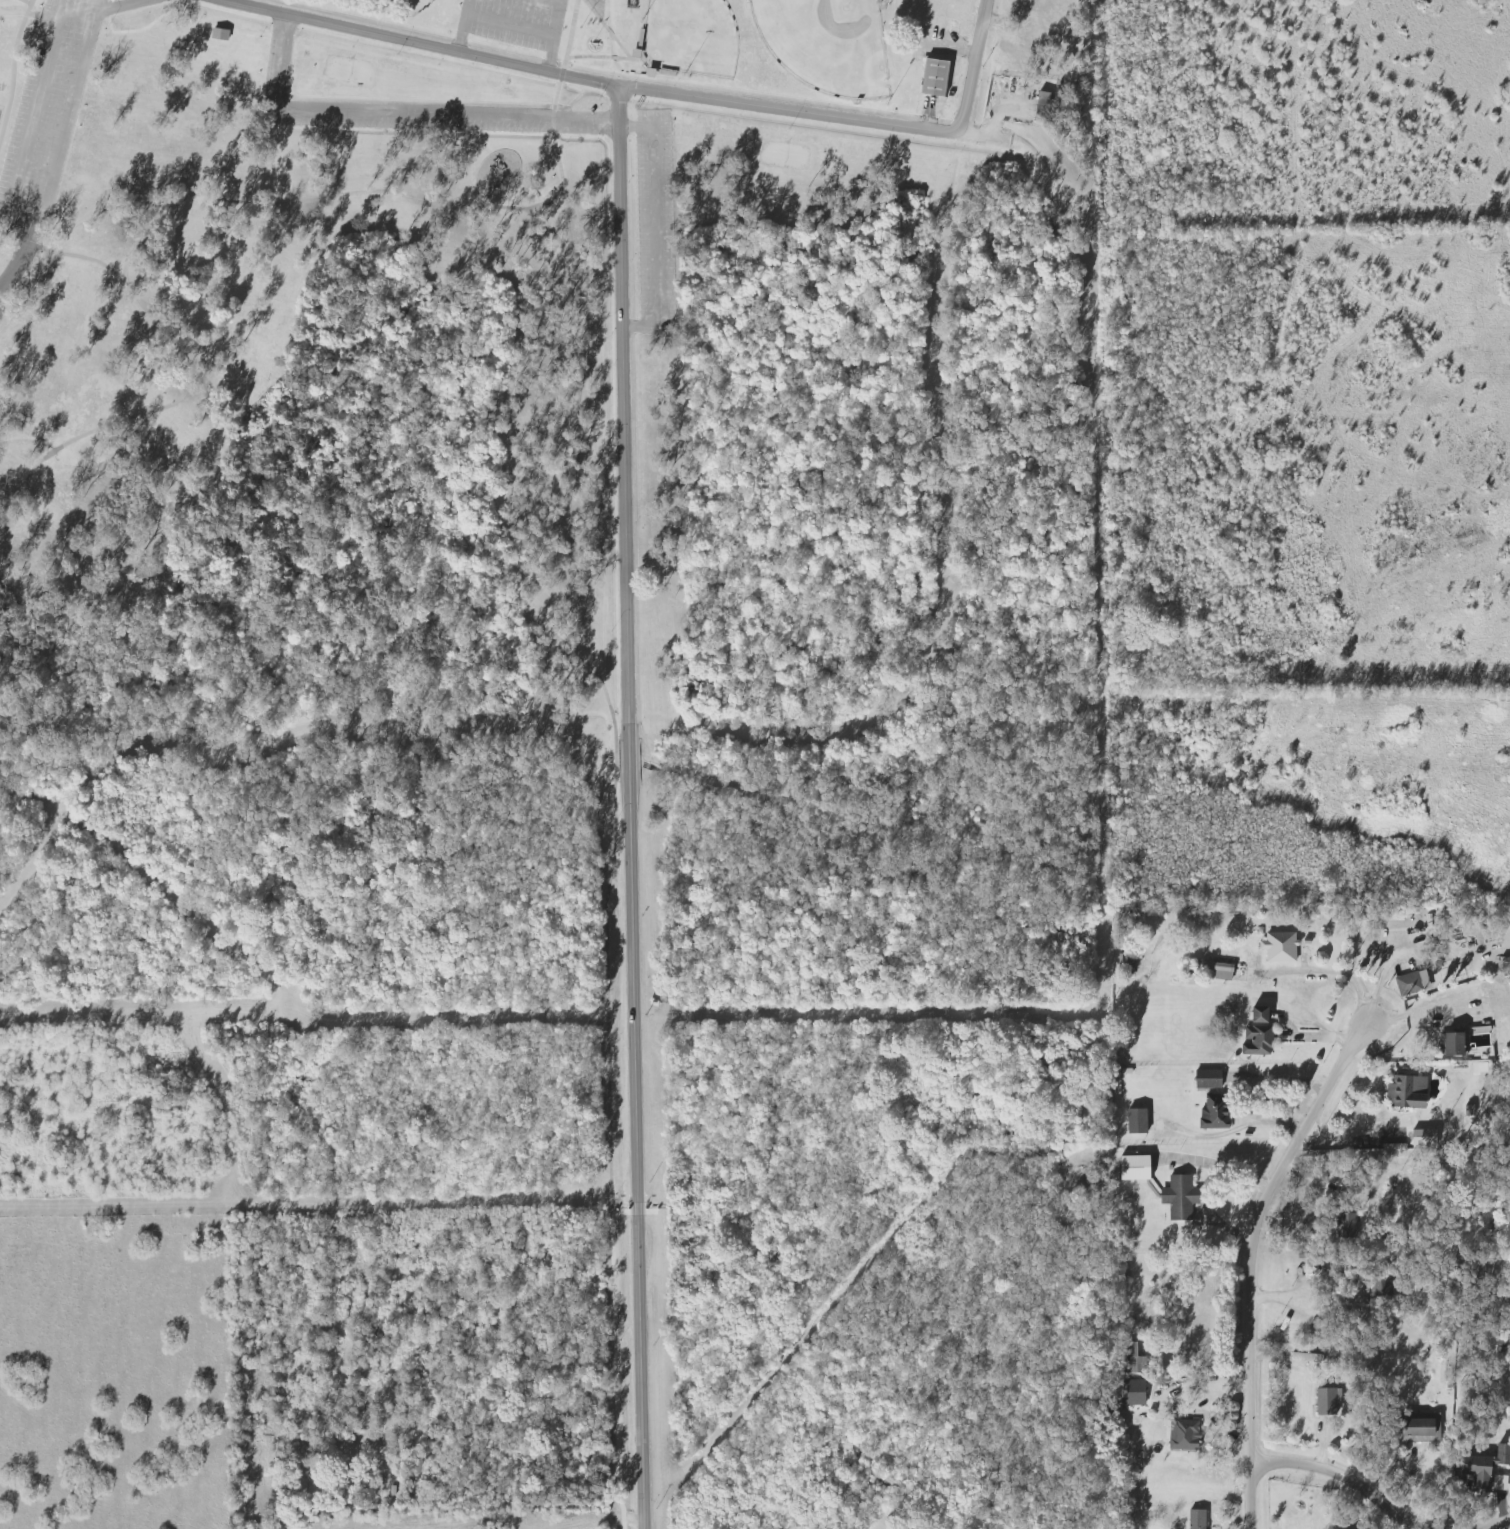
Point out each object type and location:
road: (27, 2)
road: (85, 12)
road: (12, 15)
road: (462, 25)
road: (509, 26)
road: (607, 30)
building: (220, 34)
road: (553, 35)
park: (690, 38)
park: (826, 44)
road: (602, 57)
road: (12, 68)
park: (348, 70)
building: (935, 78)
road: (658, 91)
building: (1043, 106)
road: (403, 110)
park: (786, 157)
road: (4, 200)
road: (545, 200)
road: (299, 203)
road: (30, 207)
road: (103, 214)
road: (657, 229)
road: (552, 231)
road: (25, 252)
road: (188, 380)
road: (615, 754)
road: (629, 807)
building: (1392, 914)
building: (1280, 947)
road: (1328, 970)
building: (1217, 971)
building: (1412, 983)
building: (1486, 1006)
road: (1414, 1014)
building: (1260, 1016)
building: (1258, 1041)
building: (1451, 1045)
building: (1208, 1079)
building: (1407, 1092)
building: (1214, 1113)
building: (1137, 1121)
road: (1369, 1128)
road: (1223, 1168)
building: (1180, 1191)
building: (1346, 1226)
road: (1252, 1261)
building: (1379, 1287)
road: (1302, 1294)
building: (1307, 1358)
building: (1131, 1359)
building: (1132, 1392)
building: (1327, 1401)
building: (1419, 1428)
building: (1184, 1435)
building: (1484, 1467)
road: (1340, 1477)
building: (1197, 1519)
road: (474, 1522)
building: (903, 1525)
road: (1498, 1525)

